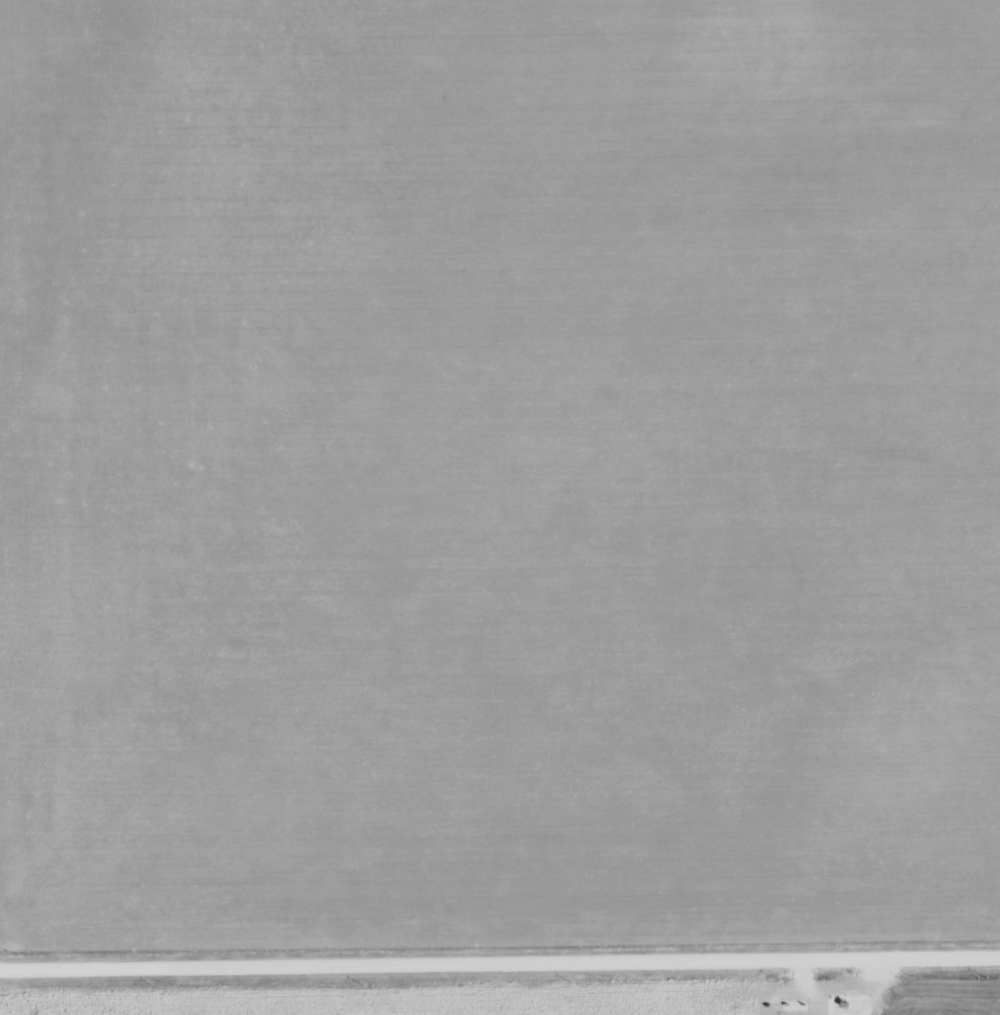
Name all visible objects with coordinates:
road: (500, 959)

